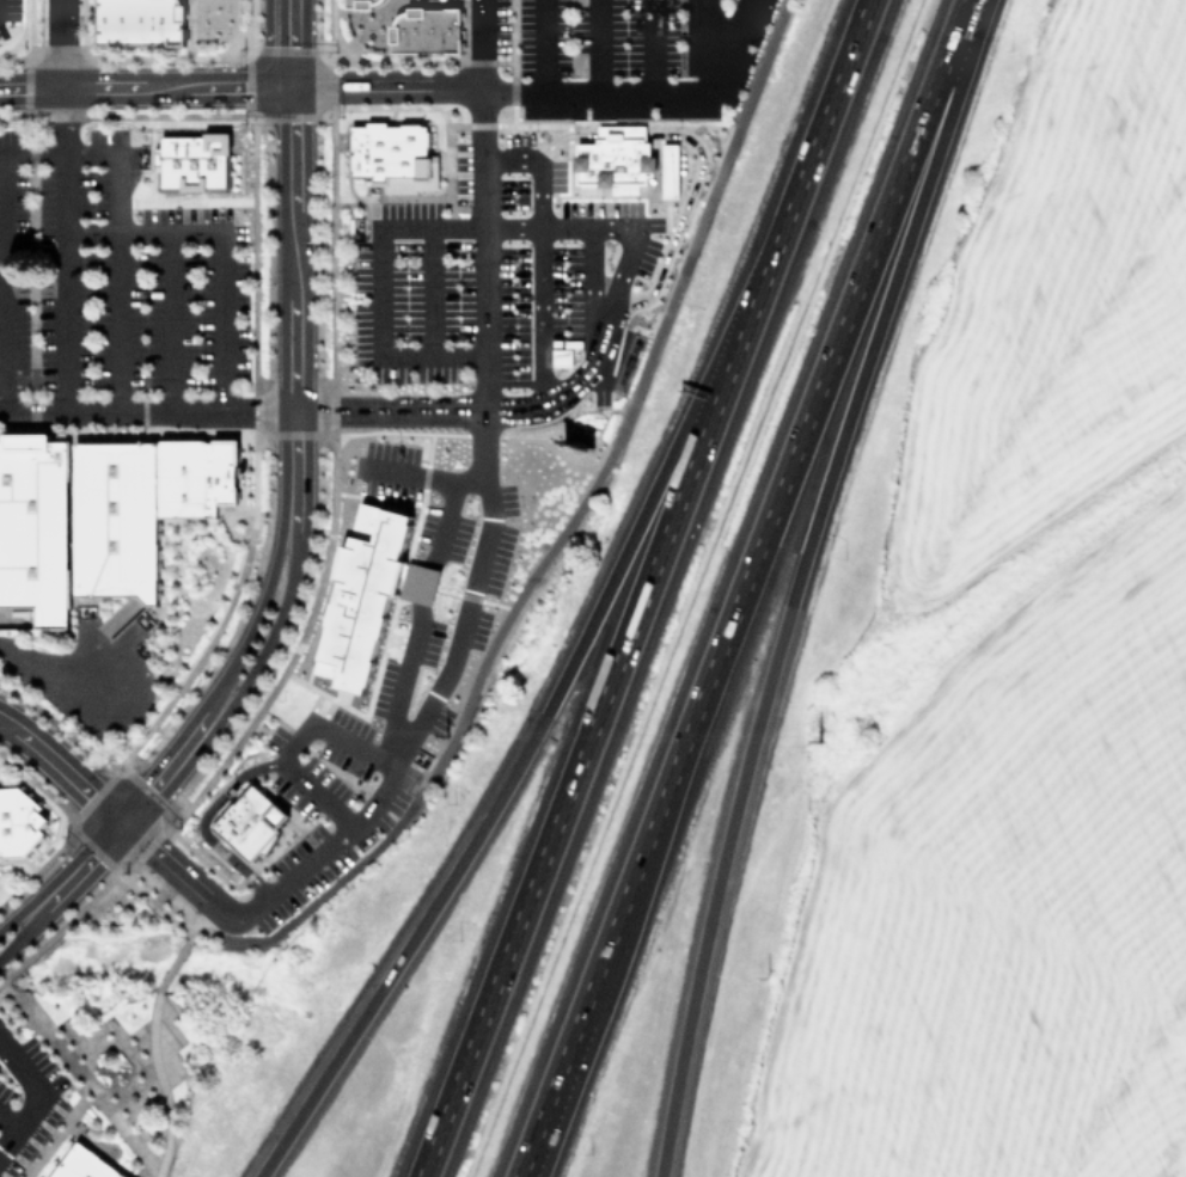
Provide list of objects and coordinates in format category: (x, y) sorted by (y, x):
building: (359, 2)
parking lot: (8, 8)
building: (137, 22)
building: (426, 30)
road: (291, 43)
road: (479, 44)
road: (597, 47)
road: (652, 47)
road: (708, 47)
road: (727, 47)
road: (545, 48)
parking lot: (628, 54)
traffic signals: (292, 87)
road: (146, 88)
road: (500, 91)
road: (630, 128)
road: (562, 130)
road: (815, 140)
building: (622, 149)
building: (391, 155)
building: (190, 160)
building: (678, 163)
road: (65, 207)
road: (681, 219)
road: (118, 223)
road: (224, 243)
road: (632, 245)
road: (540, 255)
parking lot: (493, 271)
parking lot: (111, 274)
road: (2, 283)
road: (374, 289)
road: (430, 289)
road: (600, 302)
road: (293, 314)
road: (171, 323)
road: (404, 415)
road: (483, 447)
road: (410, 476)
building: (97, 513)
road: (766, 526)
road: (555, 542)
road: (795, 581)
building: (359, 596)
road: (471, 597)
road: (253, 619)
road: (273, 627)
road: (53, 664)
crop: (1029, 715)
road: (592, 728)
road: (298, 736)
road: (531, 738)
road: (173, 762)
road: (62, 770)
parking lot: (320, 807)
road: (203, 817)
building: (18, 819)
building: (251, 819)
traffic signals: (124, 823)
road: (109, 862)
road: (169, 864)
road: (84, 866)
road: (164, 893)
road: (19, 918)
road: (221, 933)
road: (25, 938)
road: (172, 964)
road: (18, 999)
park: (134, 1003)
road: (154, 1077)
road: (159, 1083)
road: (30, 1095)
parking lot: (26, 1101)
road: (542, 1114)
road: (549, 1114)
road: (8, 1120)
building: (84, 1164)

